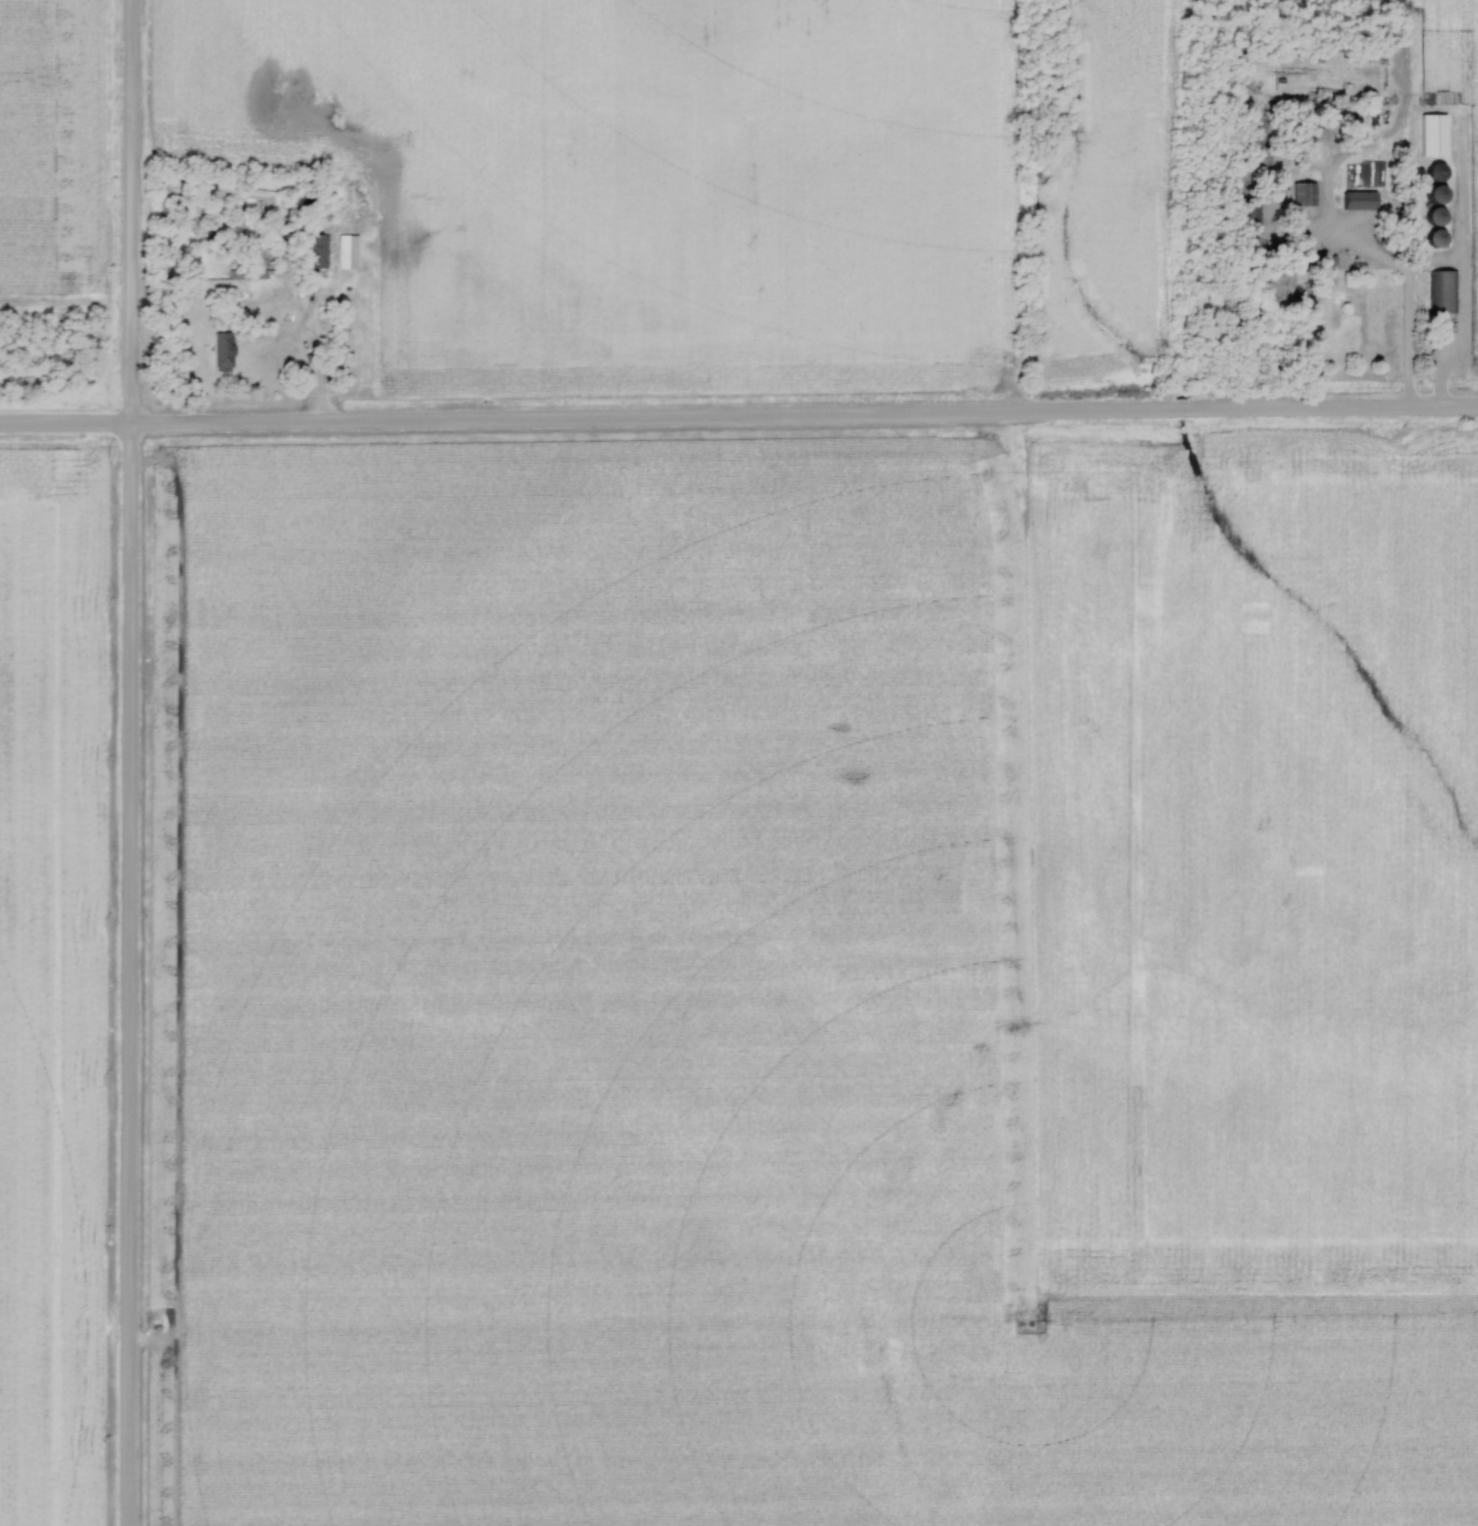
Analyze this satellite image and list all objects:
building: (1433, 135)
building: (1436, 172)
building: (1304, 193)
building: (1436, 194)
building: (1359, 200)
building: (1252, 216)
building: (1436, 216)
building: (1435, 239)
building: (317, 251)
building: (1444, 292)
road: (1258, 330)
building: (222, 351)
road: (286, 357)
road: (739, 421)
road: (126, 762)

